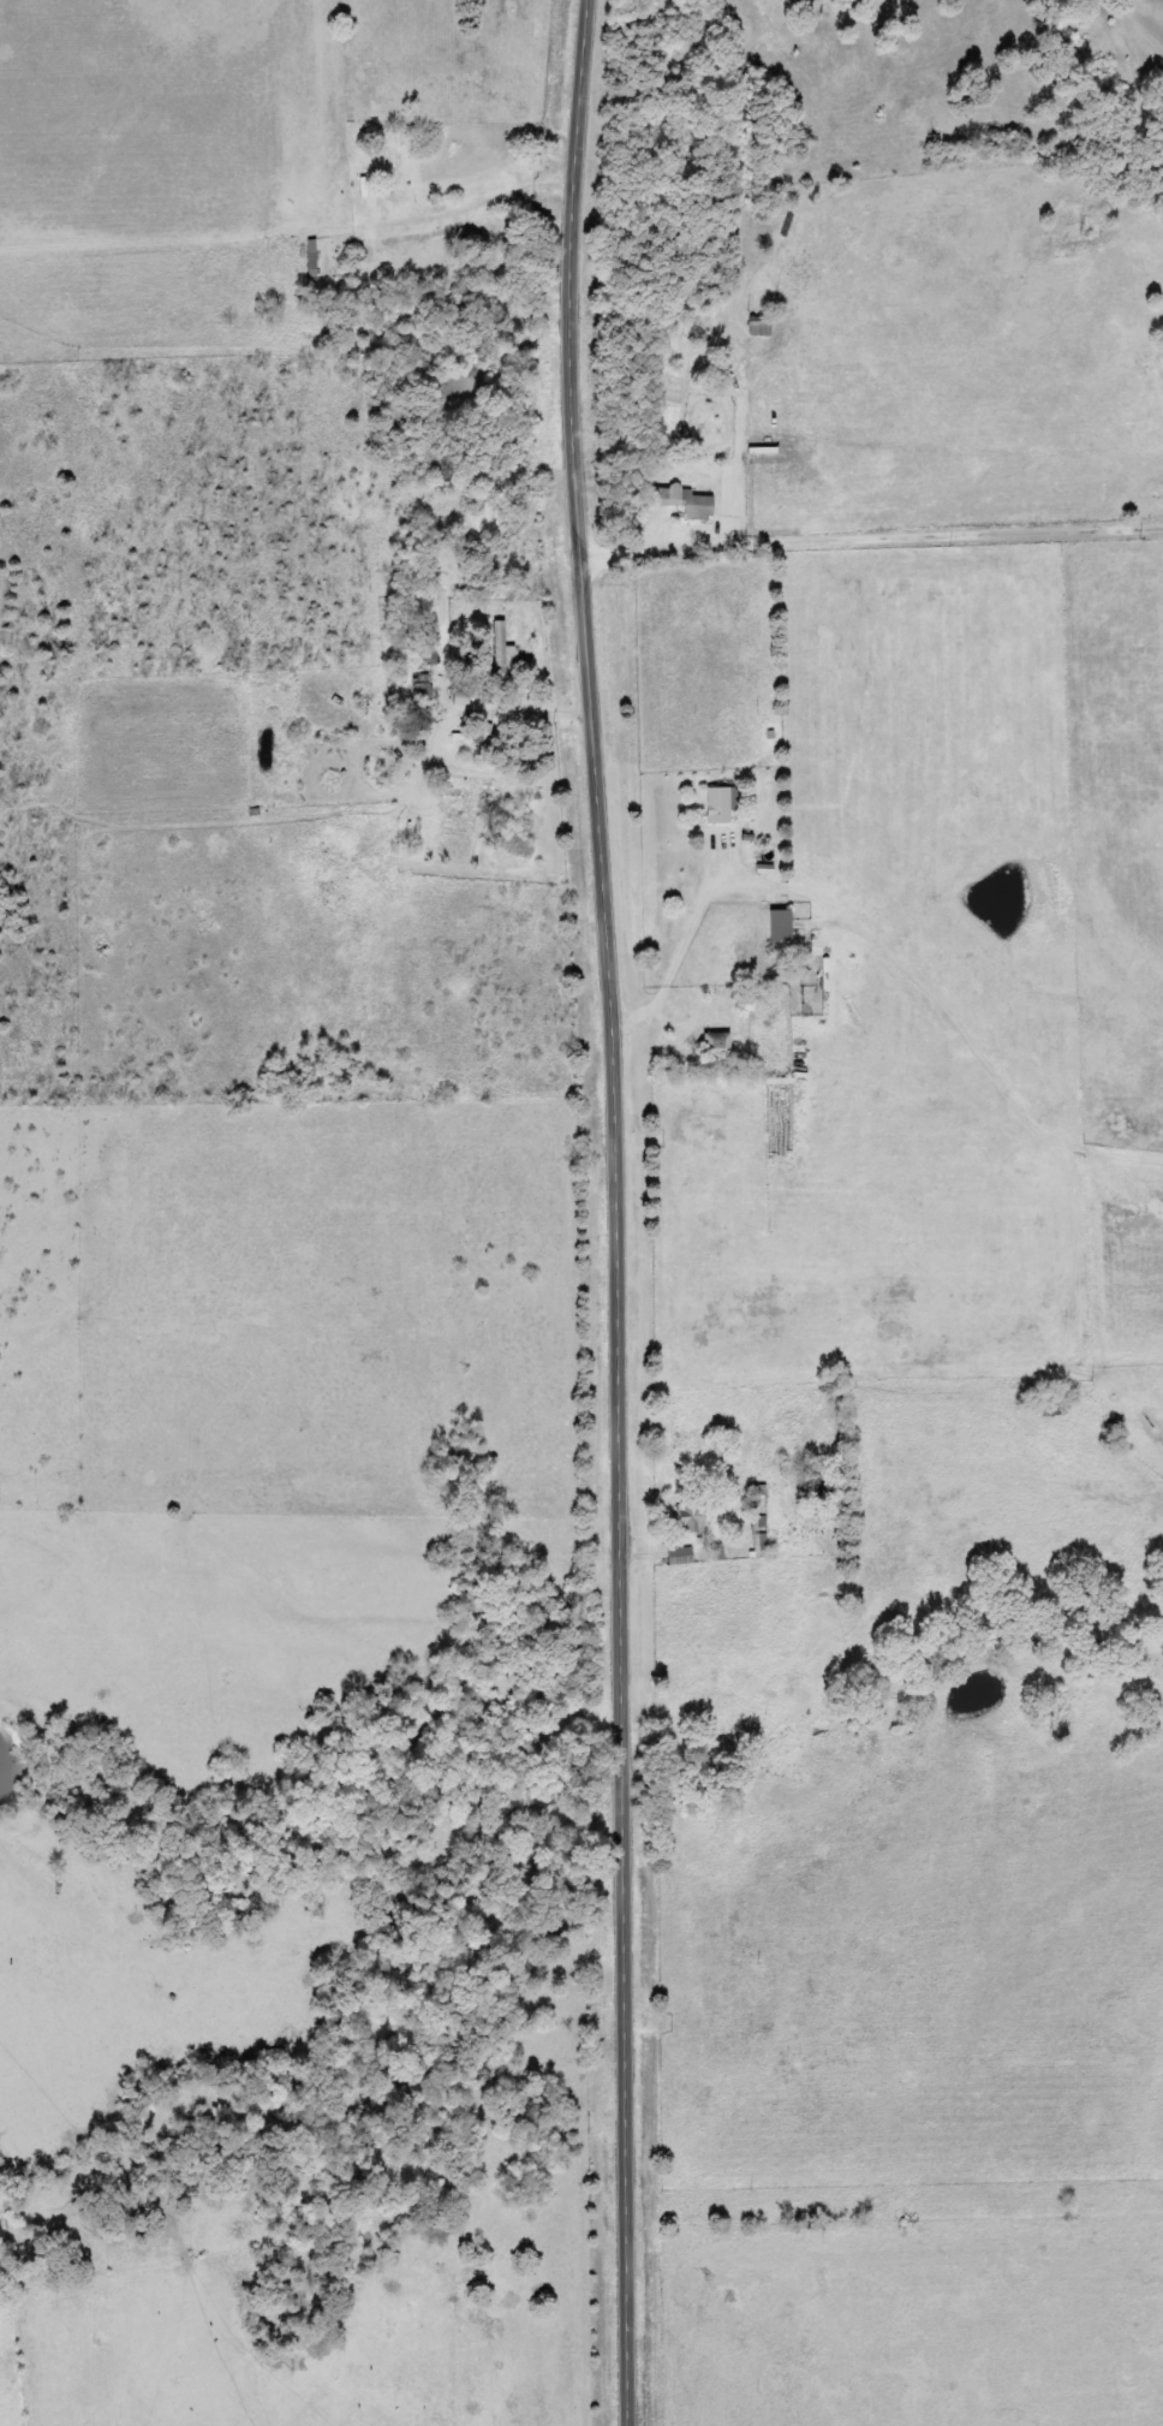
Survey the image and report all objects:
building: (694, 503)
road: (852, 509)
building: (511, 649)
building: (430, 689)
building: (471, 700)
building: (729, 807)
building: (782, 926)
road: (616, 1212)
building: (693, 1520)
building: (722, 1553)

